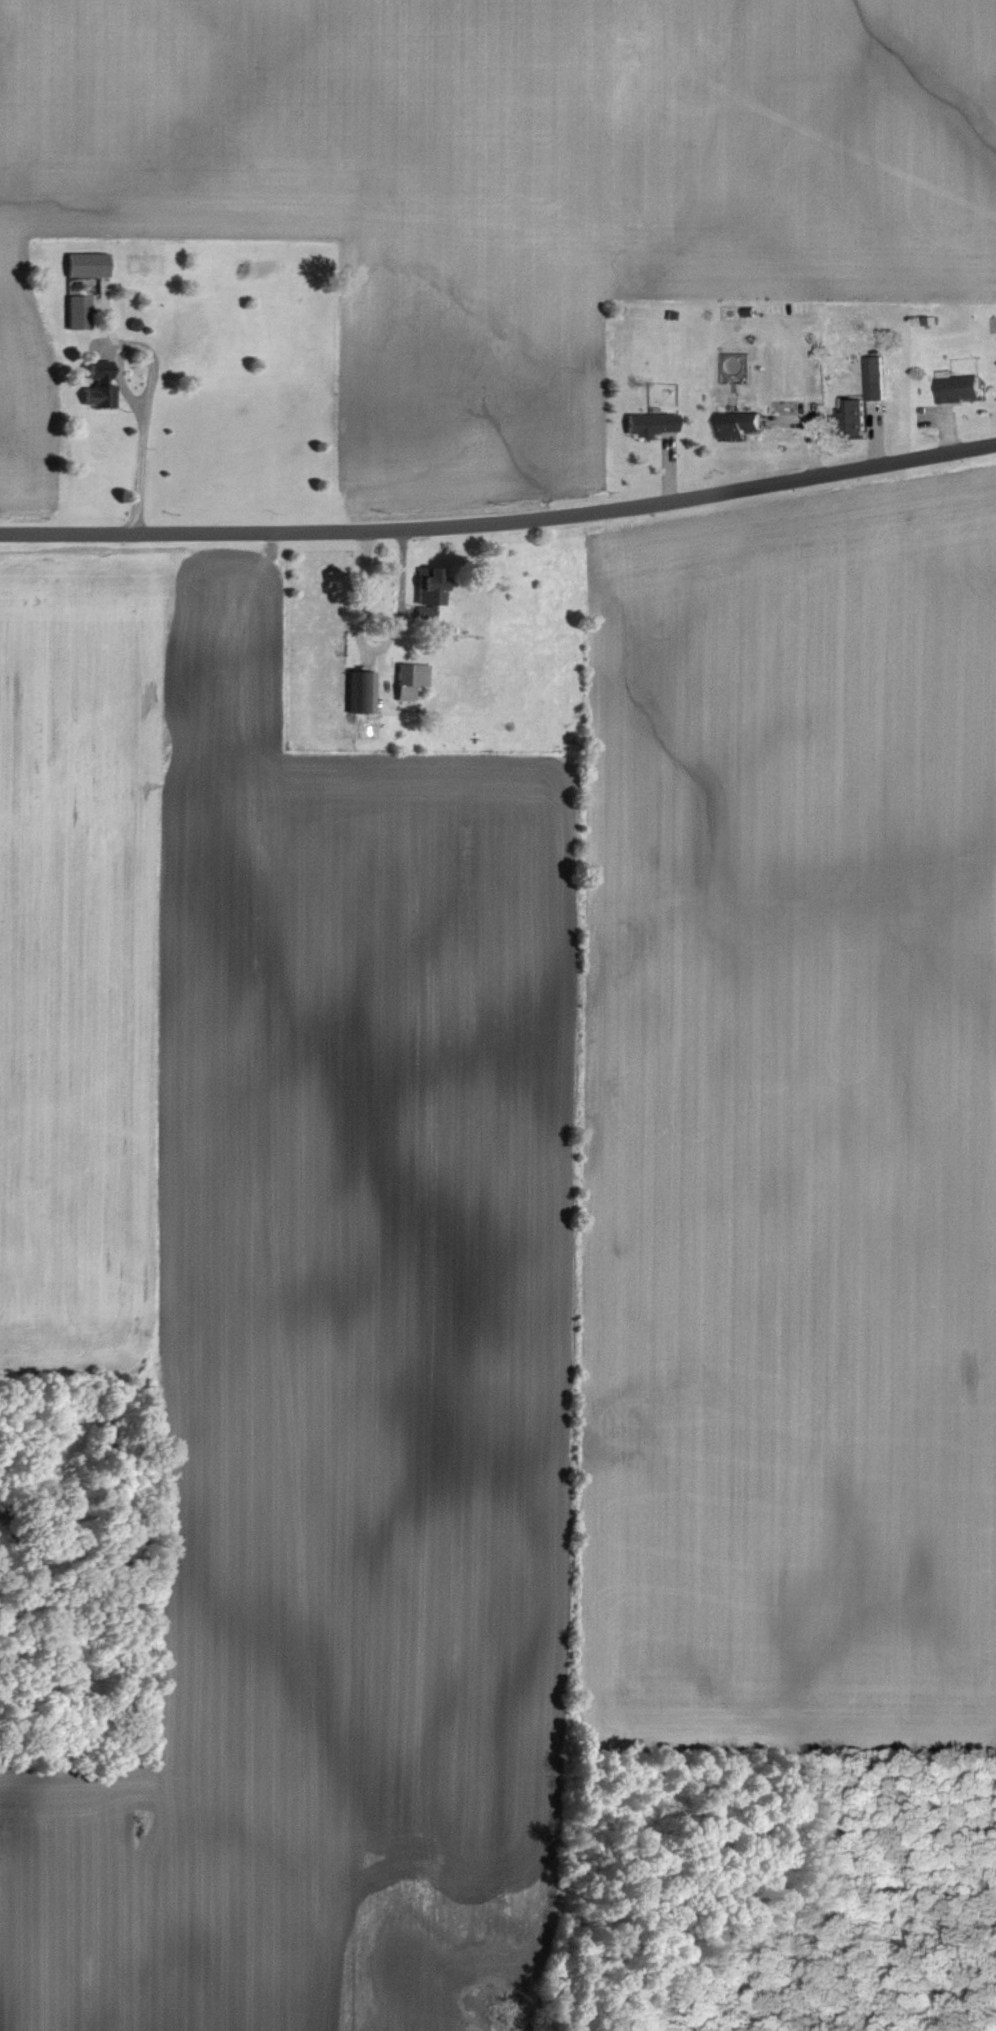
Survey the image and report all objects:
building: (89, 264)
building: (79, 312)
building: (876, 378)
building: (100, 386)
building: (960, 387)
road: (125, 390)
building: (855, 413)
building: (652, 424)
building: (738, 424)
road: (501, 520)
building: (432, 590)
building: (412, 680)
building: (363, 692)

